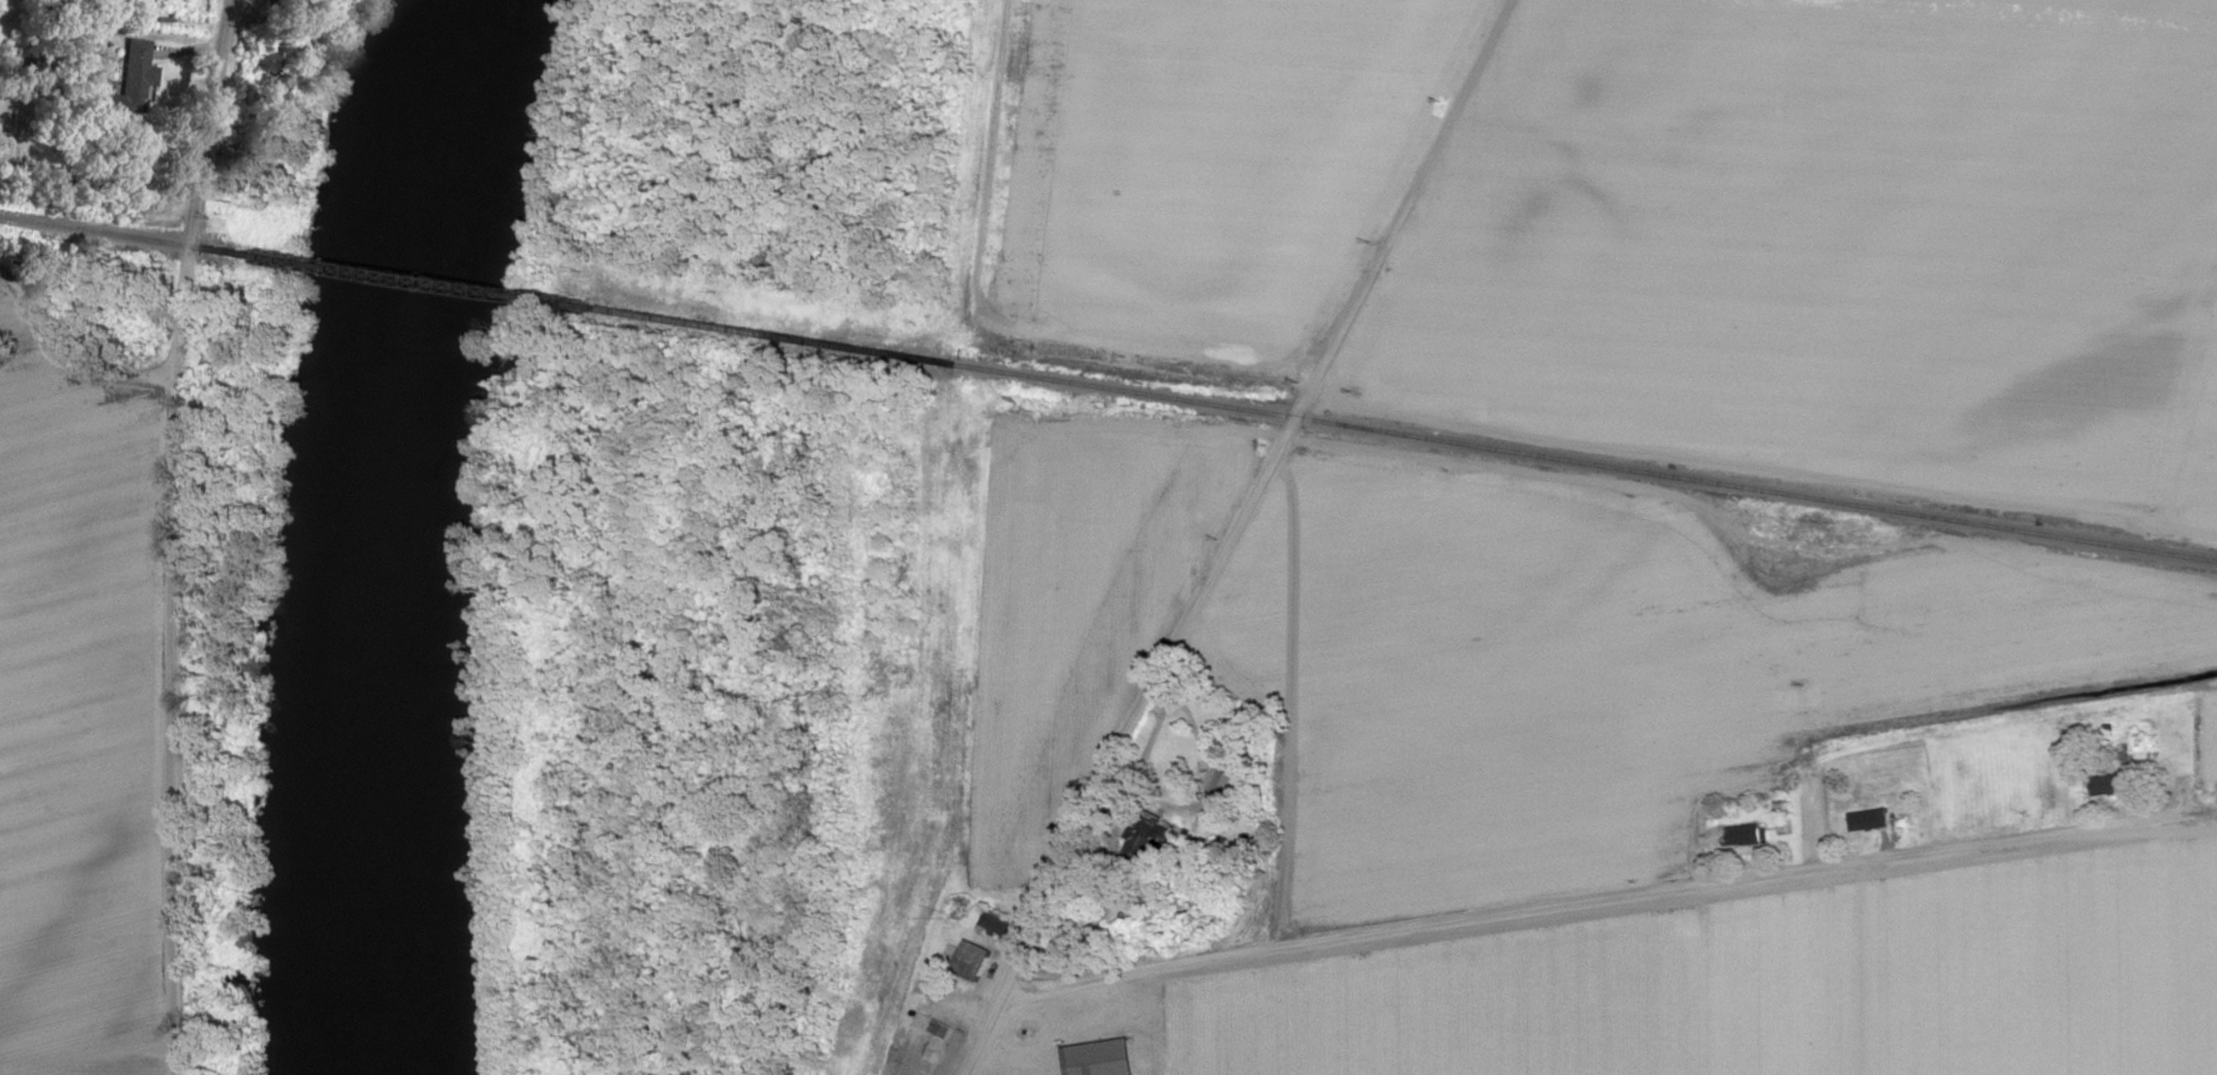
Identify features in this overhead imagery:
building: (130, 74)
railway: (123, 234)
railway: (597, 309)
road: (998, 316)
road: (61, 355)
railway: (1583, 460)
river: (376, 534)
road: (167, 535)
road: (1225, 539)
road: (1622, 583)
road: (947, 737)
building: (2105, 784)
building: (1864, 819)
building: (1736, 835)
road: (1605, 900)
building: (992, 923)
building: (968, 960)
building: (936, 1028)
building: (1093, 1057)

